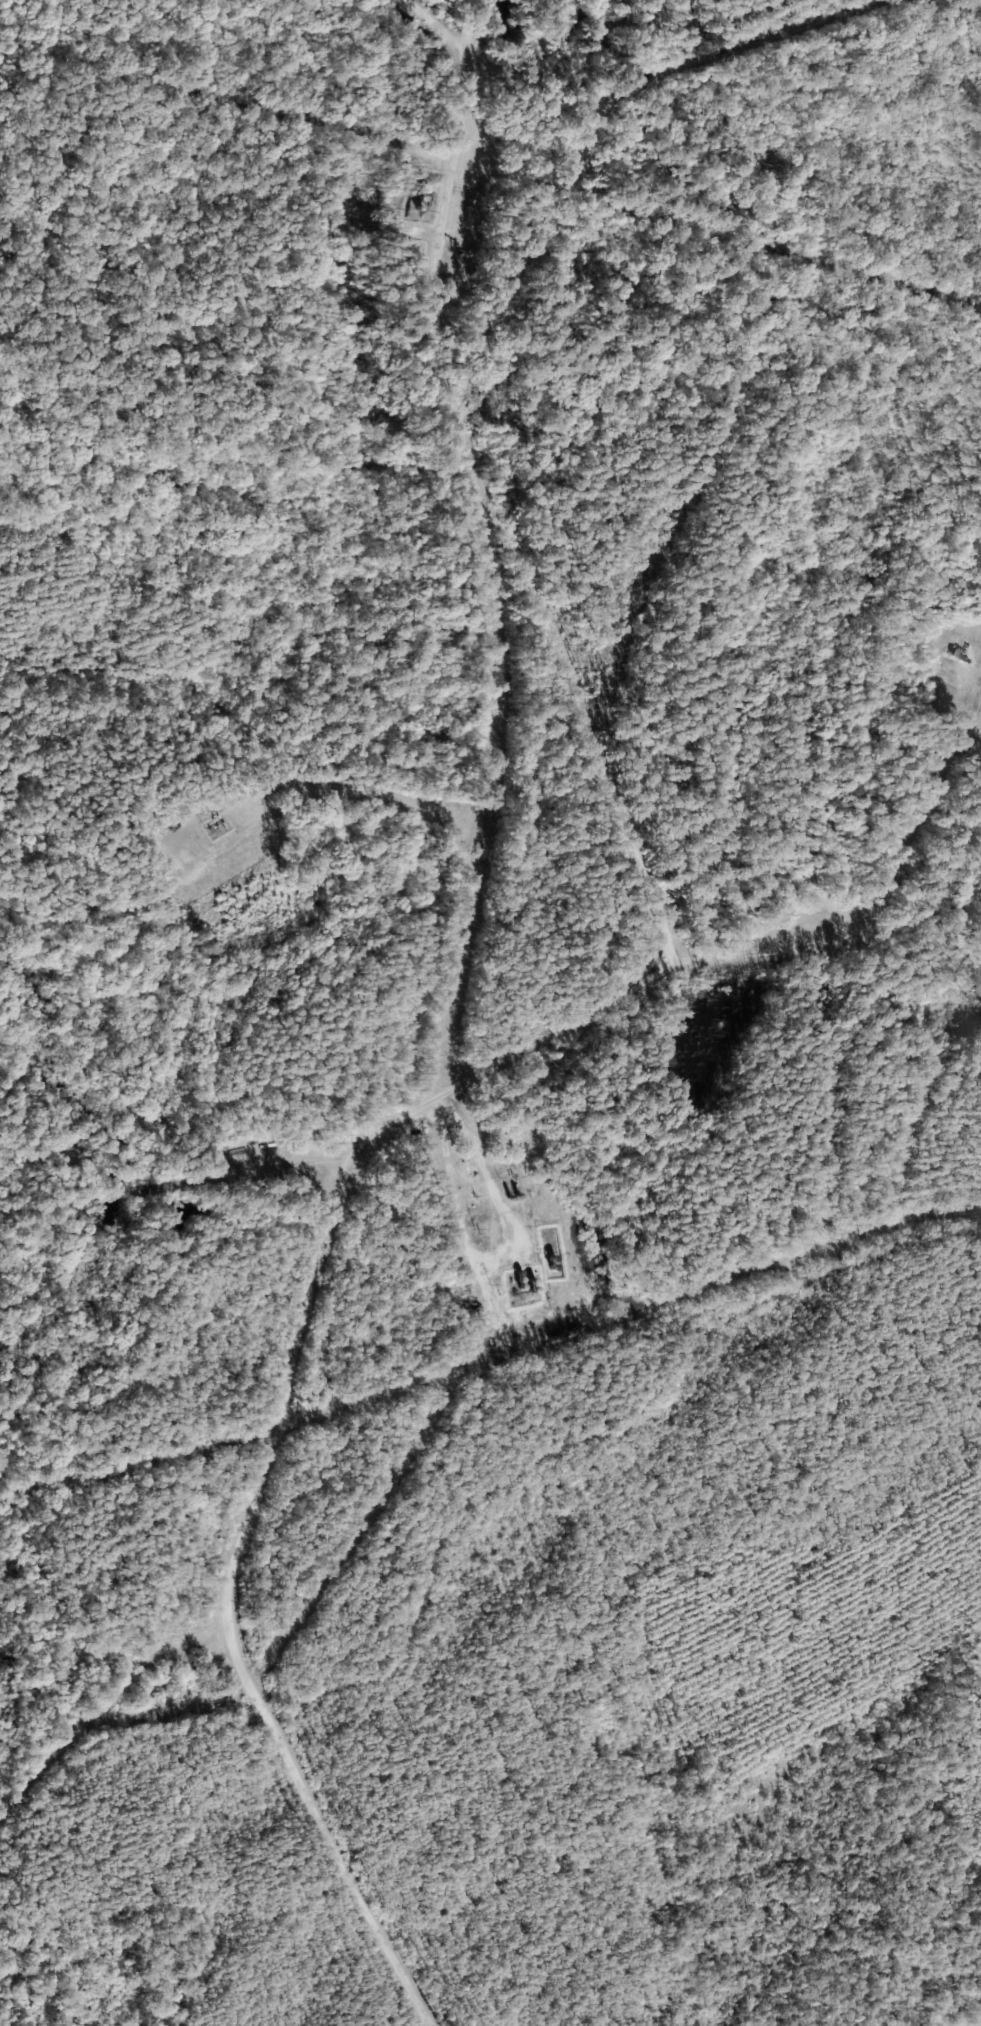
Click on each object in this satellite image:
road: (423, 8)
road: (529, 1049)
road: (163, 1181)

